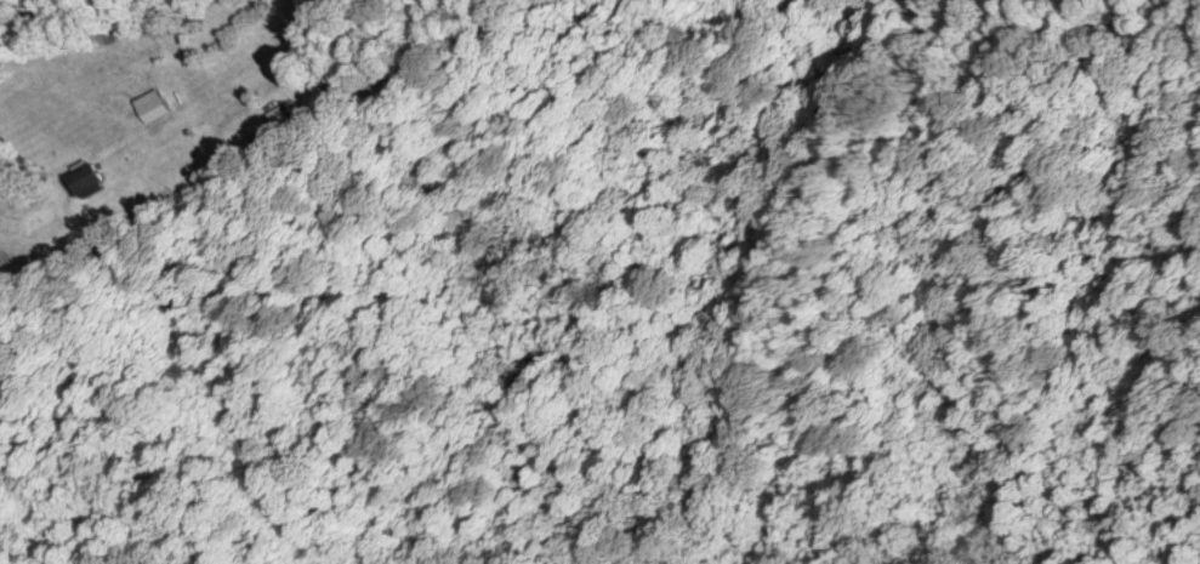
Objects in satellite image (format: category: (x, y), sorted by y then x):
building: (153, 106)
road: (289, 130)
building: (83, 180)
road: (39, 287)

